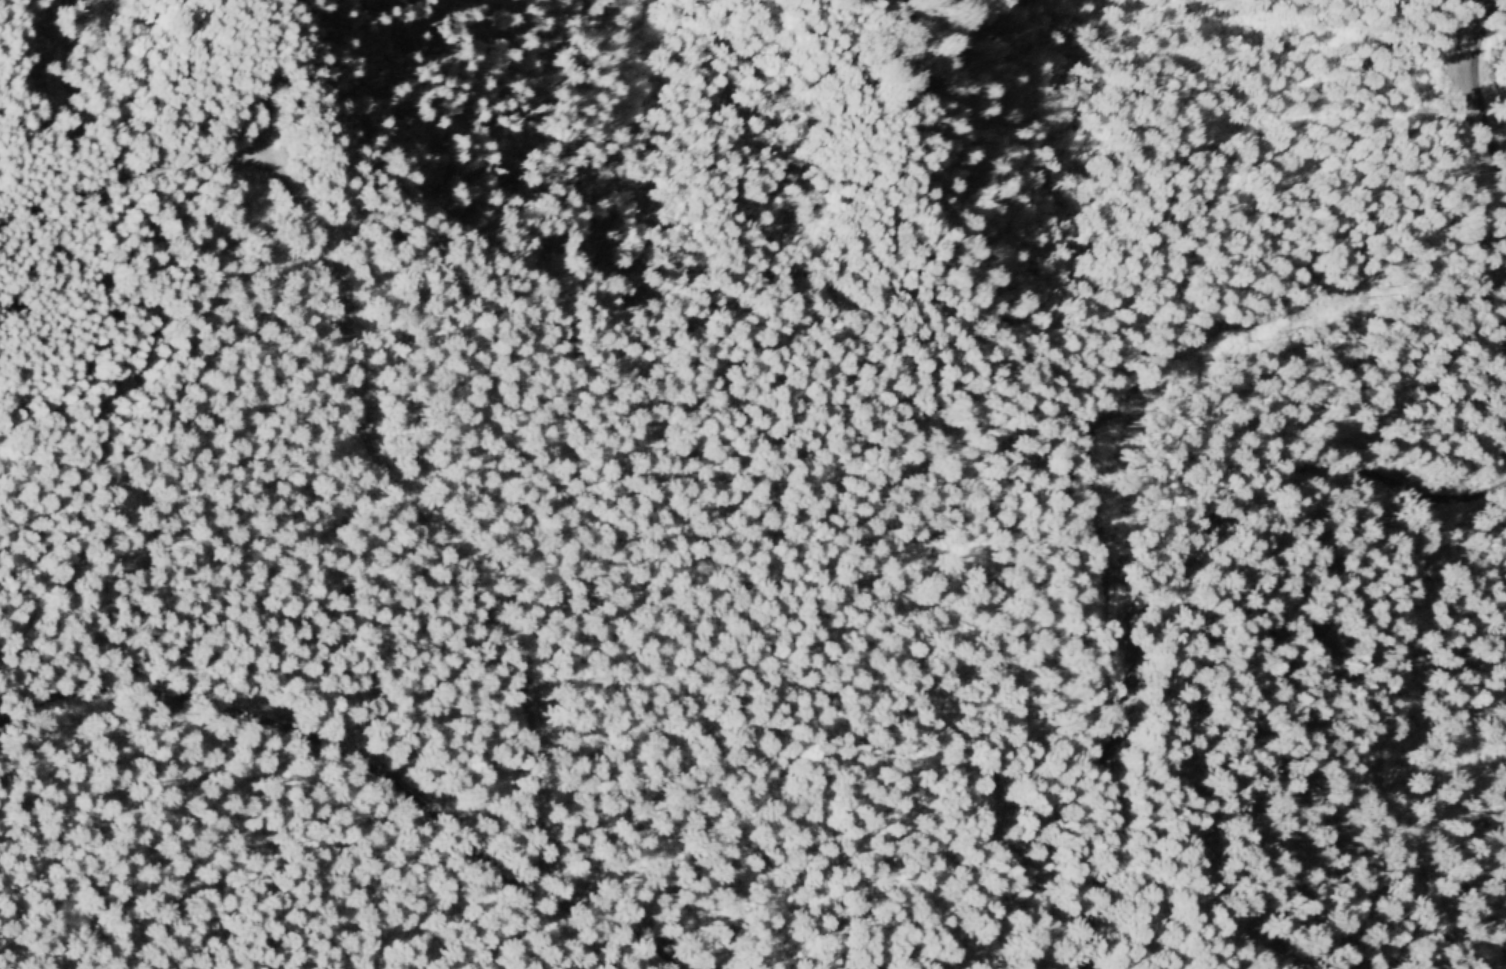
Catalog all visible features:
road: (367, 744)

